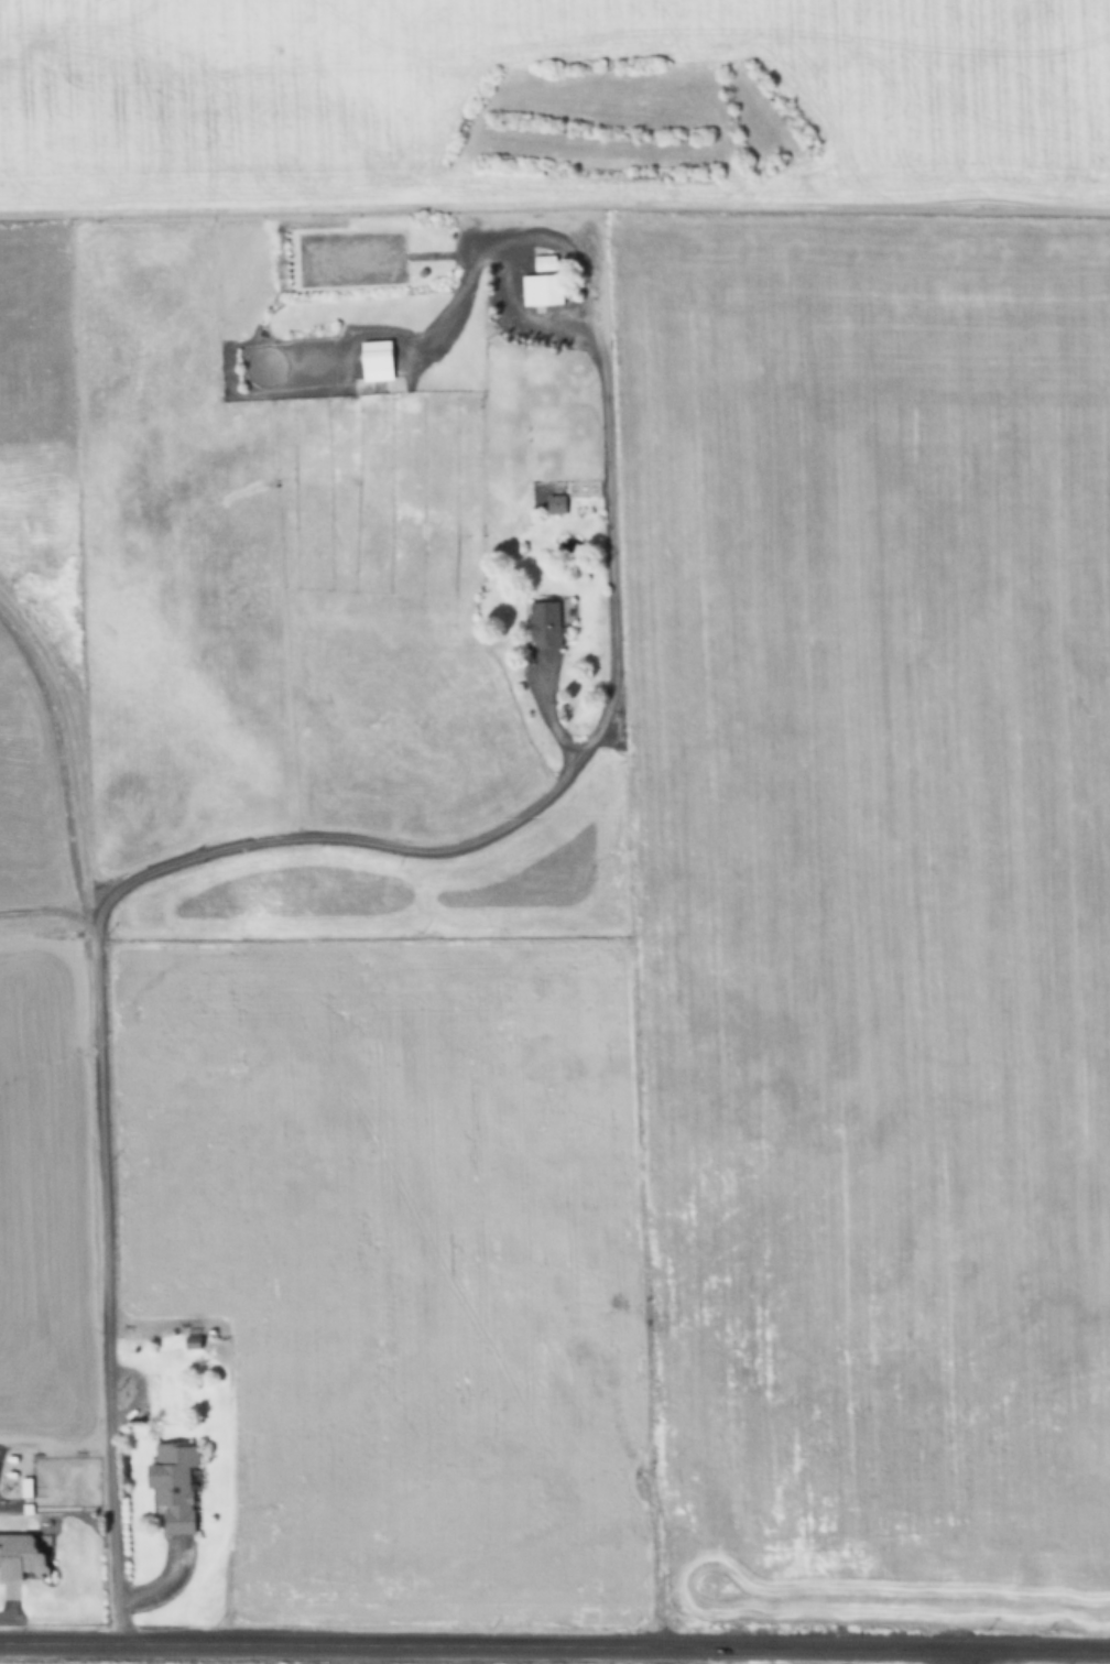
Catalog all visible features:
building: (378, 360)
building: (557, 503)
road: (613, 554)
building: (549, 620)
road: (99, 990)
building: (176, 1486)
building: (25, 1556)
road: (555, 1647)
road: (958, 1657)
crop: (1051, 1663)

